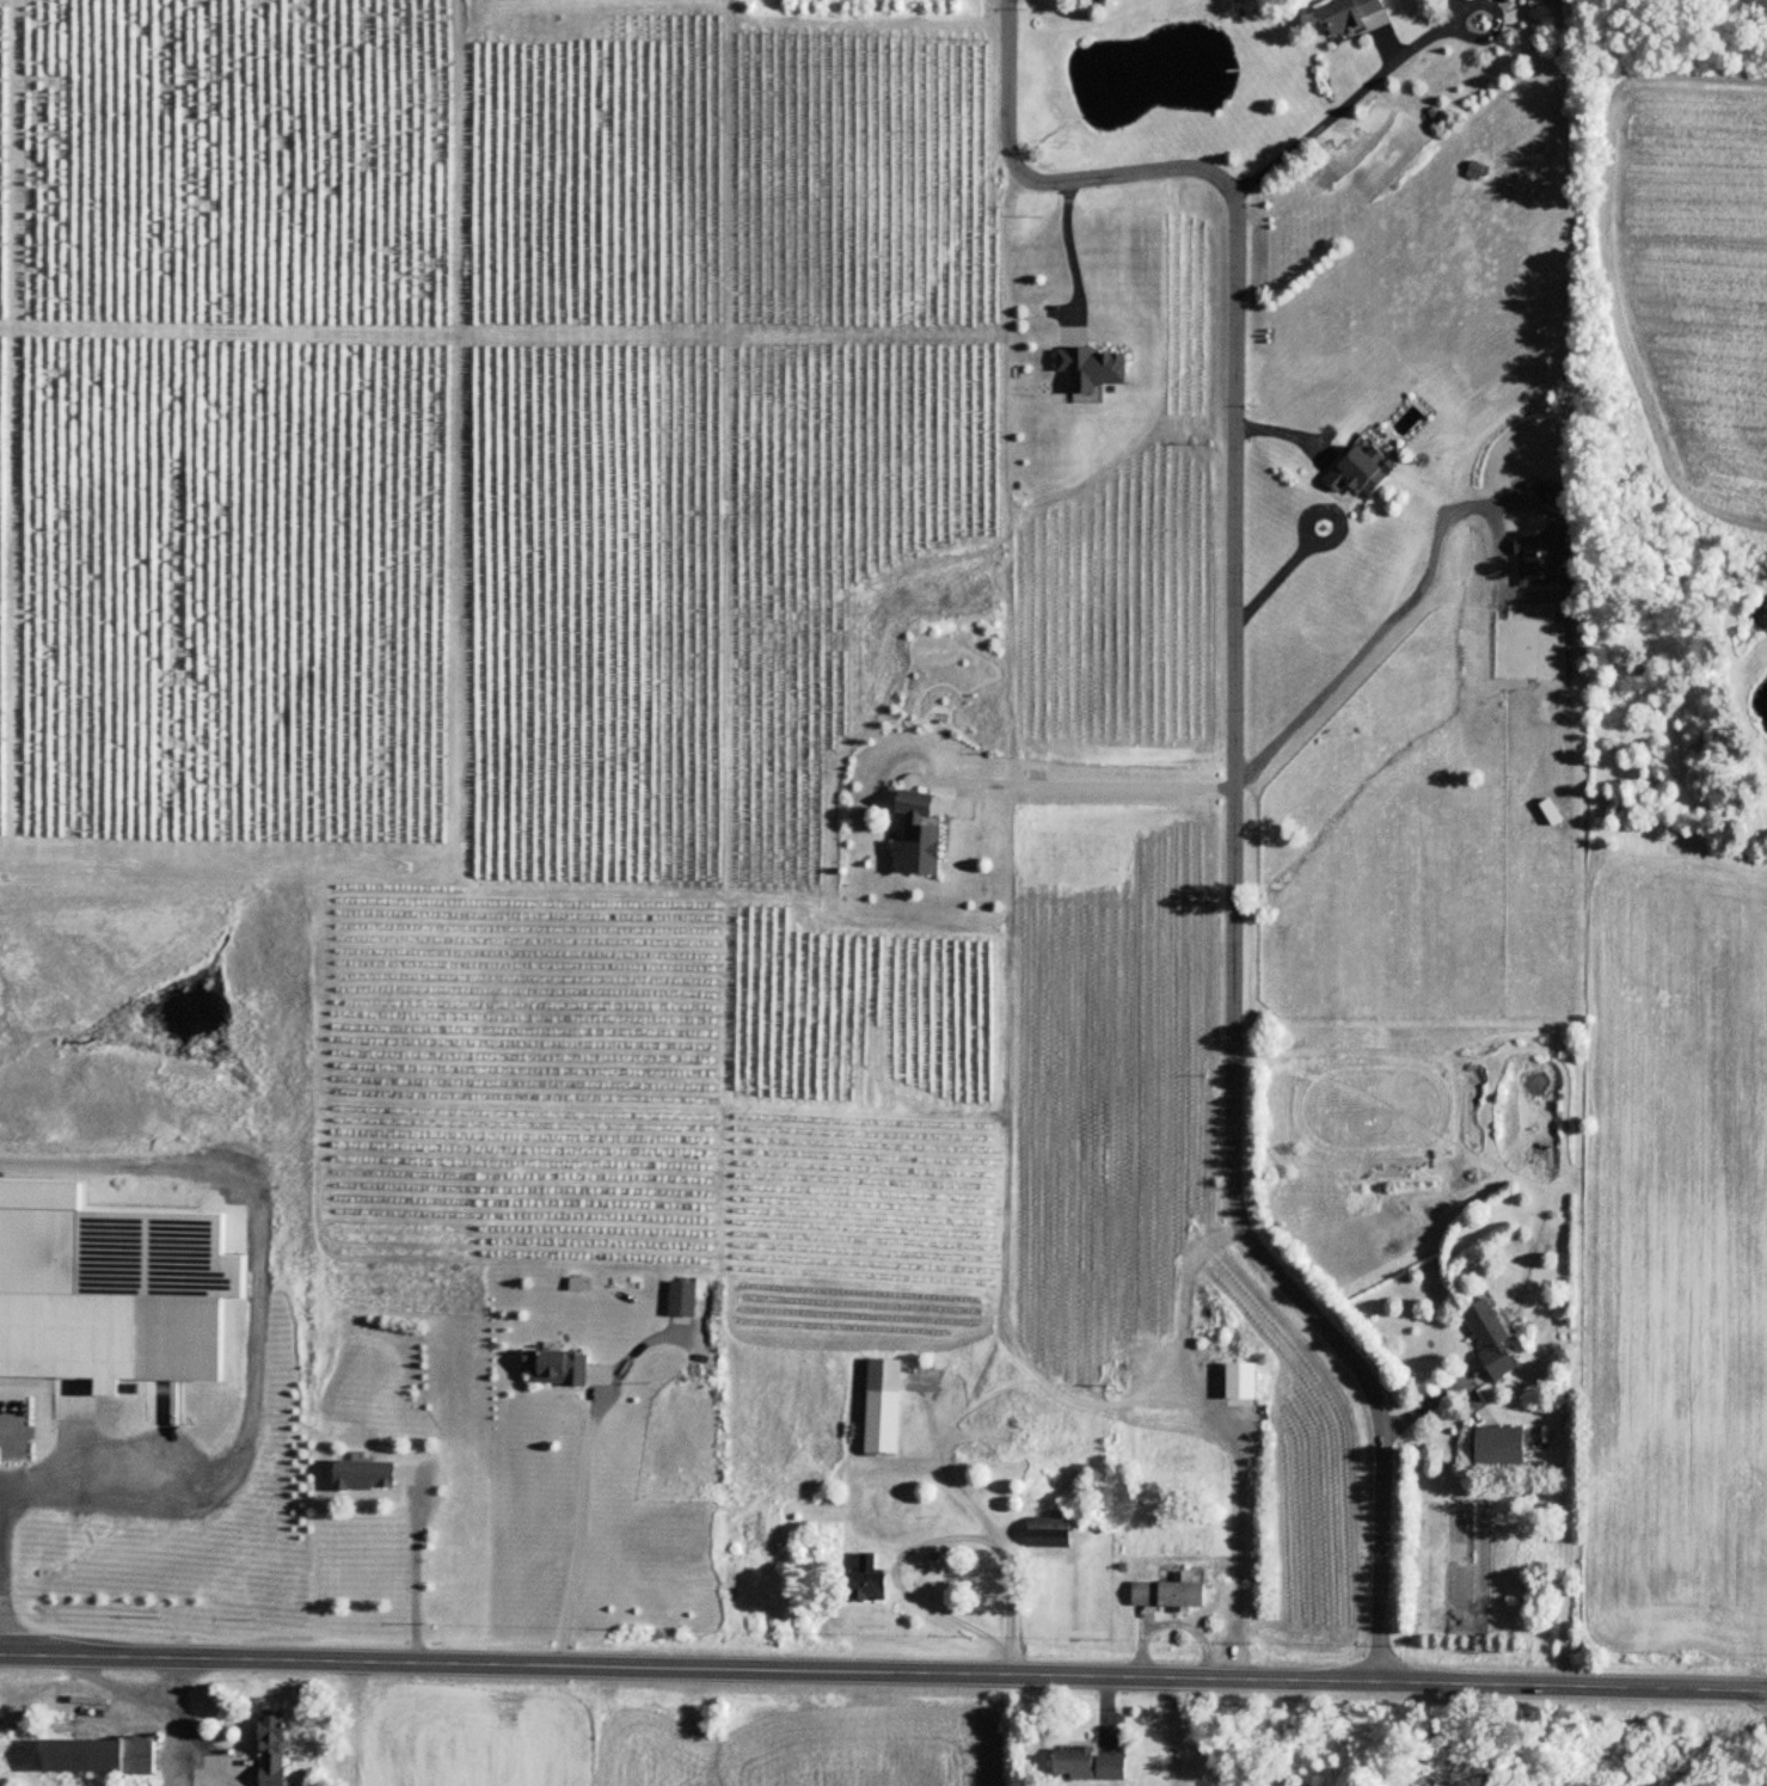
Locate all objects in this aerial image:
building: (1503, 0)
building: (1527, 0)
building: (1348, 16)
road: (1354, 98)
building: (1478, 172)
road: (1073, 252)
building: (1091, 369)
road: (1288, 431)
building: (1360, 471)
road: (1308, 521)
road: (1275, 583)
road: (1378, 624)
road: (1234, 761)
road: (1094, 785)
building: (916, 837)
building: (682, 1300)
road: (254, 1315)
building: (1490, 1337)
building: (556, 1368)
building: (1240, 1386)
building: (883, 1407)
road: (8, 1424)
road: (1234, 1425)
building: (1499, 1447)
road: (950, 1469)
building: (363, 1478)
road: (582, 1524)
road: (939, 1534)
building: (1049, 1534)
road: (416, 1583)
building: (864, 1583)
building: (1168, 1596)
road: (1174, 1622)
road: (883, 1673)
road: (158, 1702)
road: (174, 1724)
road: (354, 1724)
road: (1170, 1732)
building: (271, 1750)
building: (99, 1755)
quarry: (1651, 1755)
building: (1087, 1764)

